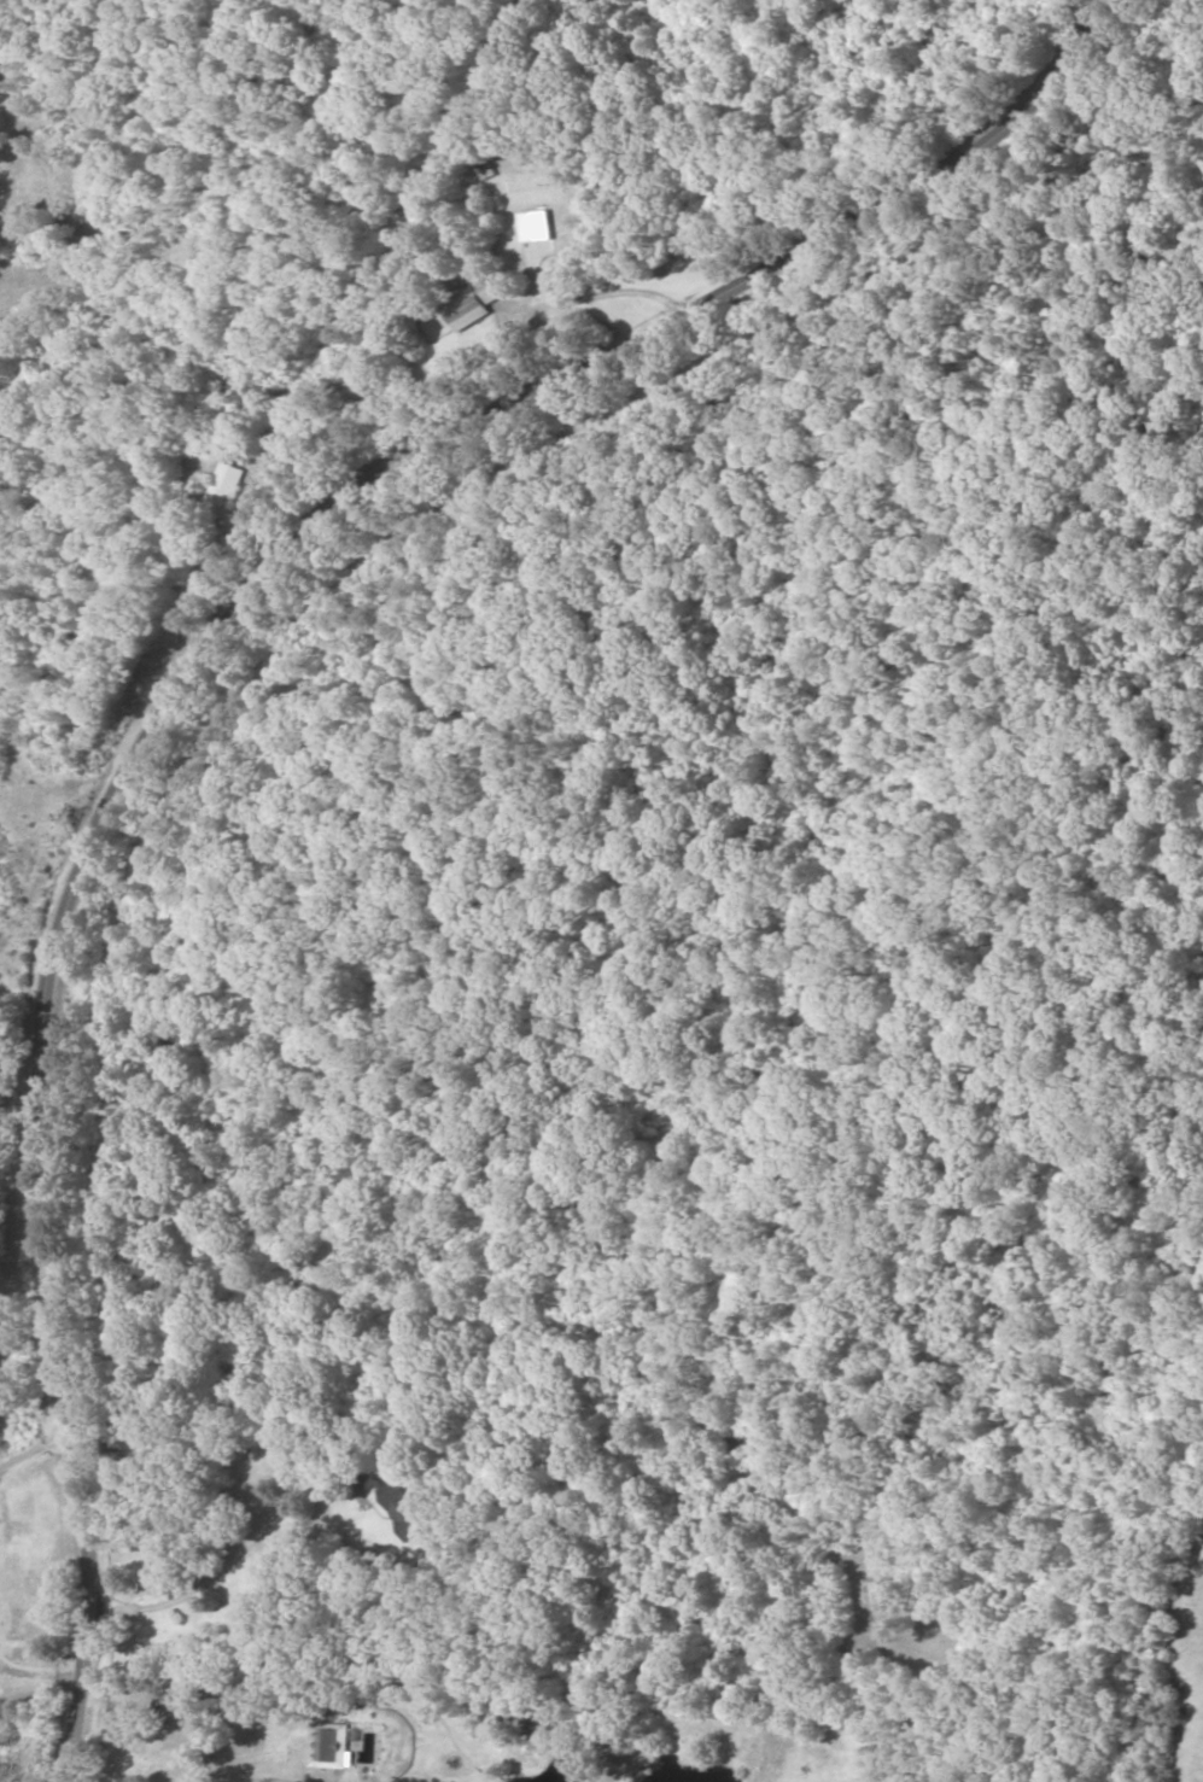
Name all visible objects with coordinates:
building: (475, 303)
building: (229, 481)
road: (194, 672)
building: (401, 1507)
building: (22, 1628)
building: (331, 1745)

